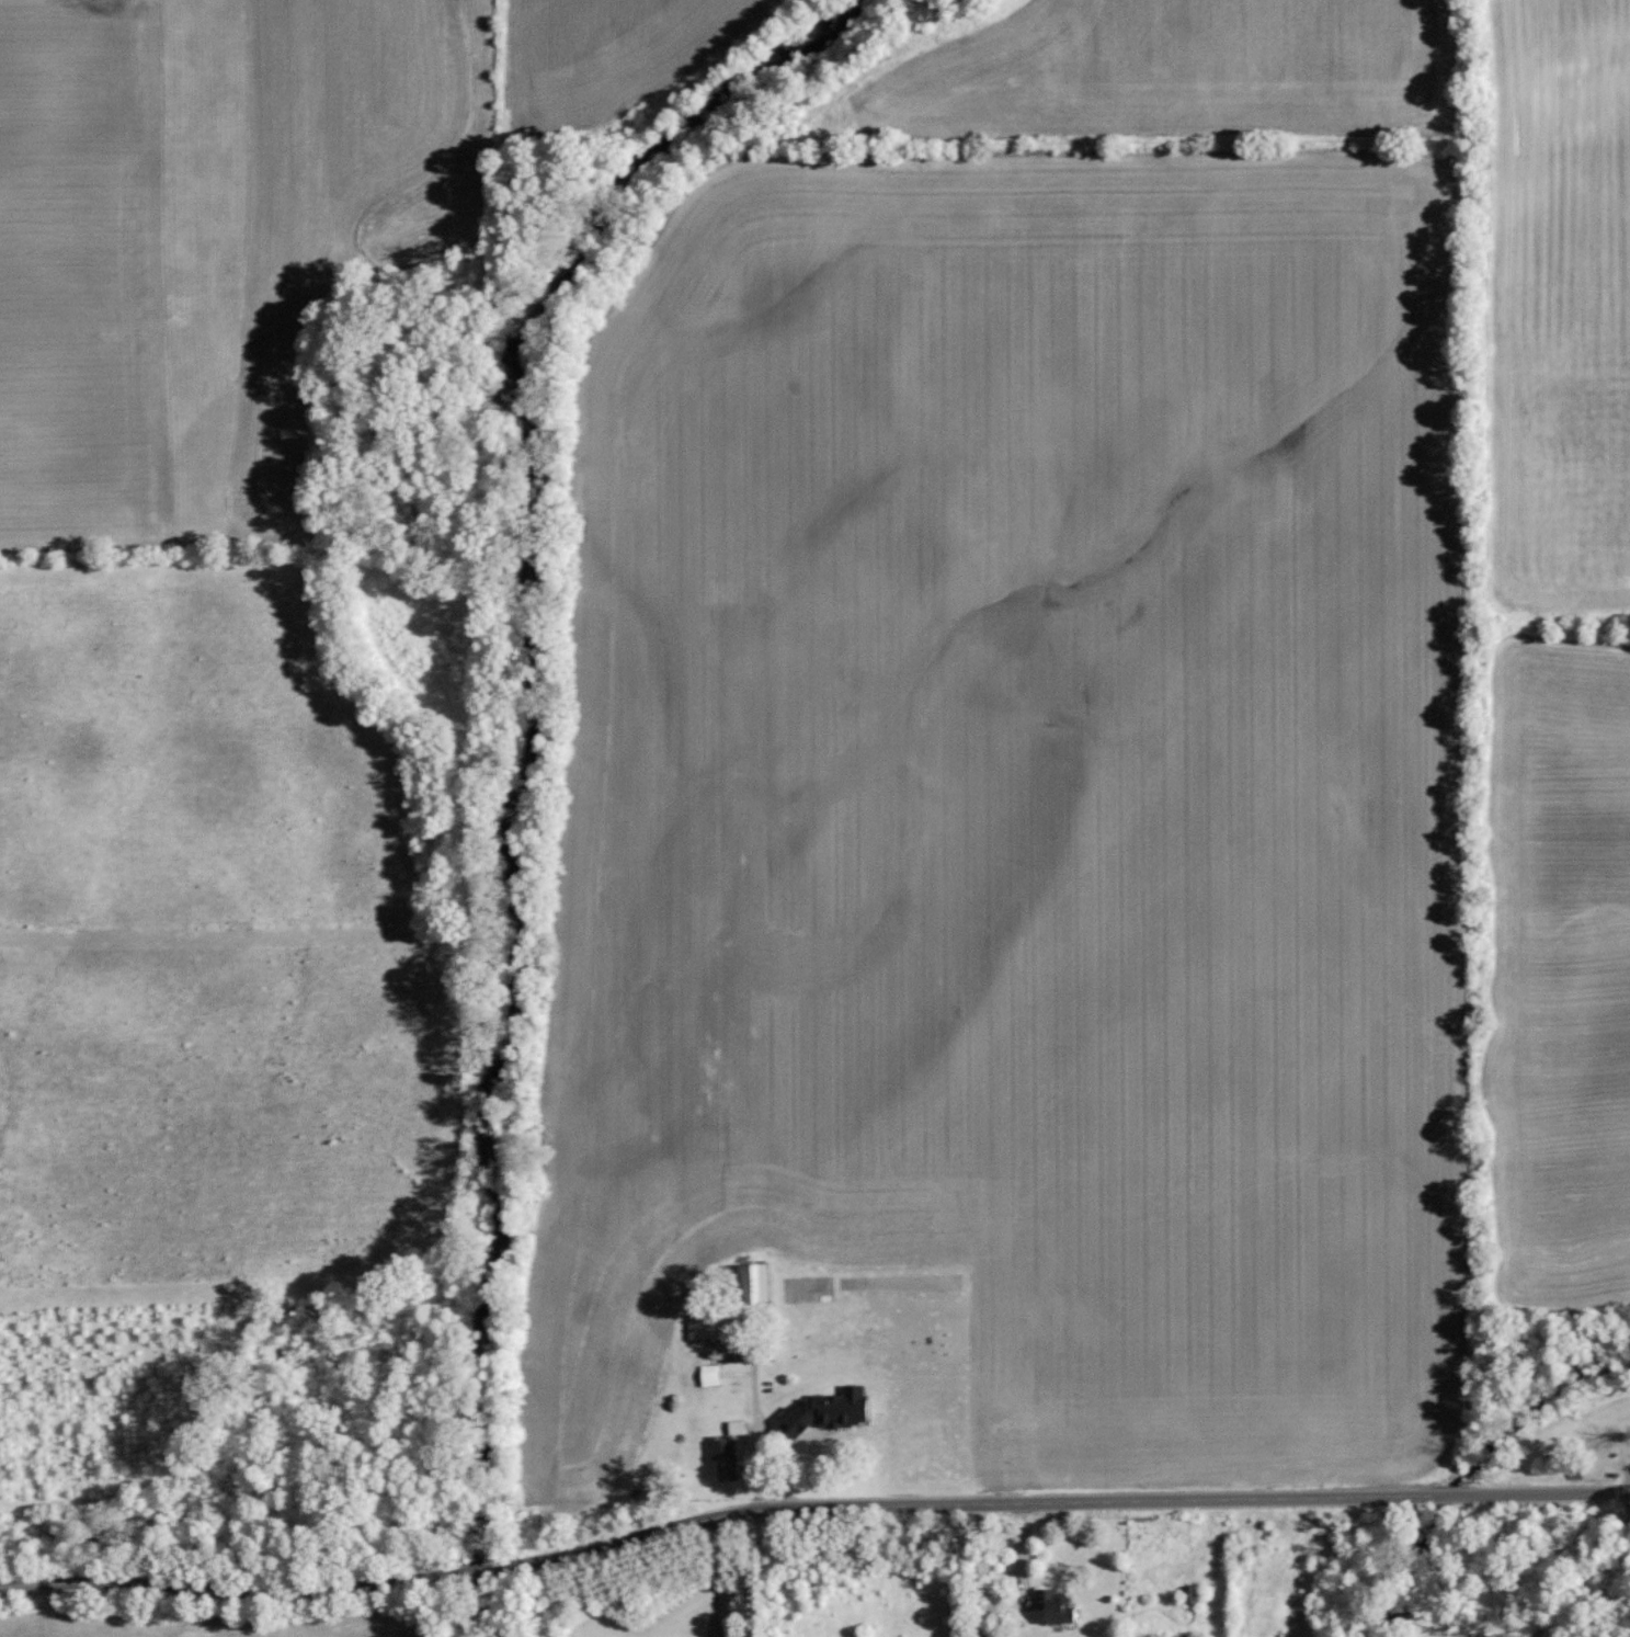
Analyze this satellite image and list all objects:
building: (750, 1281)
building: (722, 1353)
building: (821, 1416)
building: (723, 1457)
road: (1626, 1499)
road: (811, 1512)
road: (1586, 1580)
road: (718, 1581)
building: (1053, 1605)

